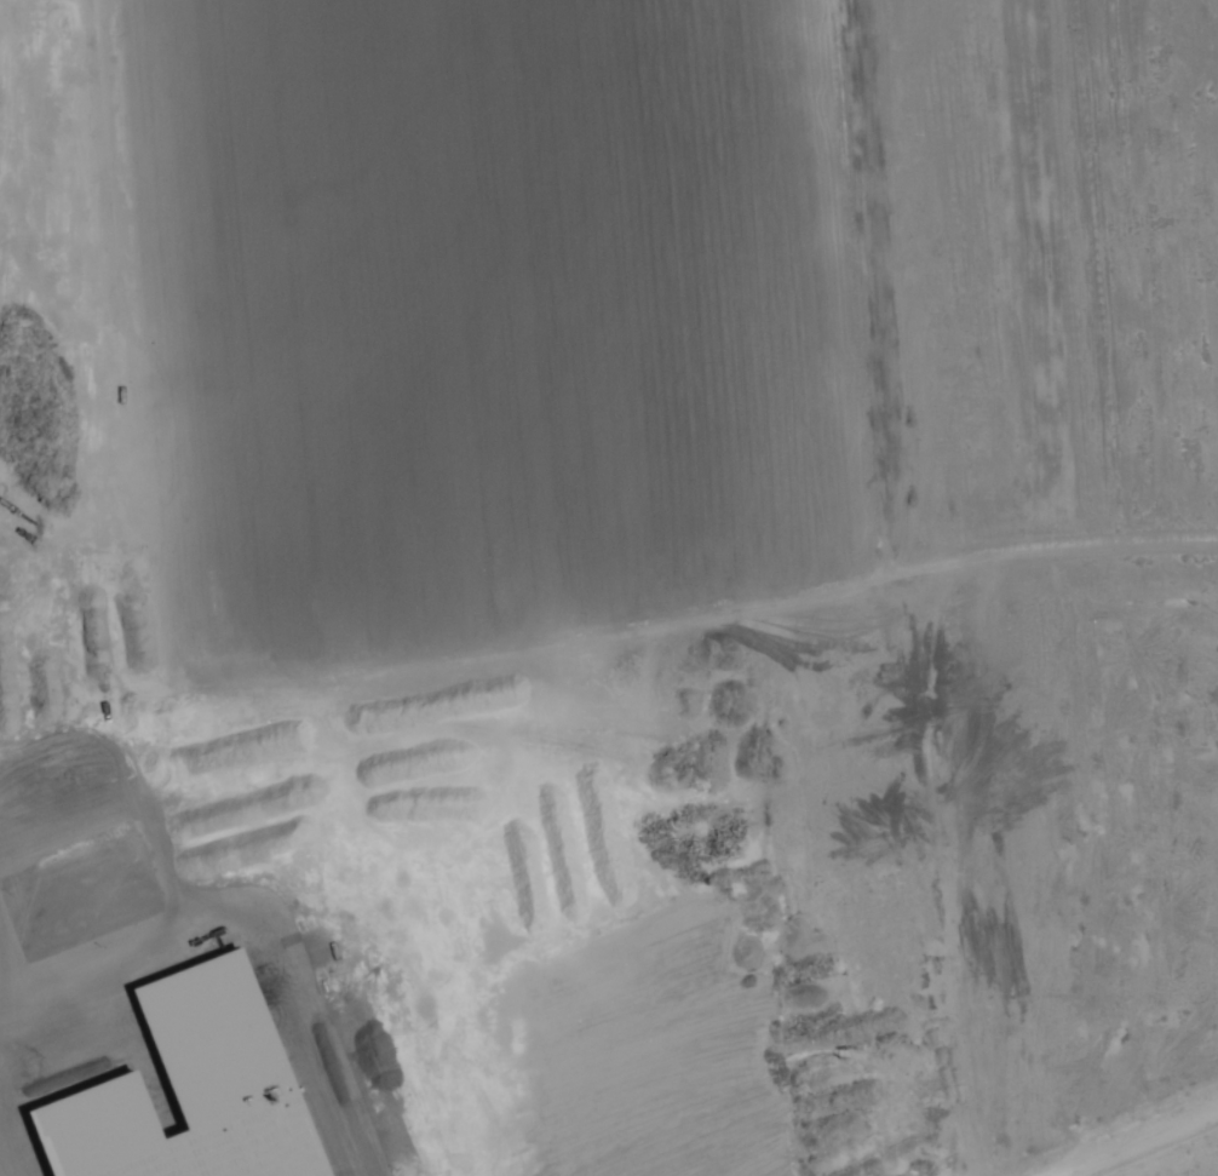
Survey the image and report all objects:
landfill: (677, 299)
building: (188, 1086)

